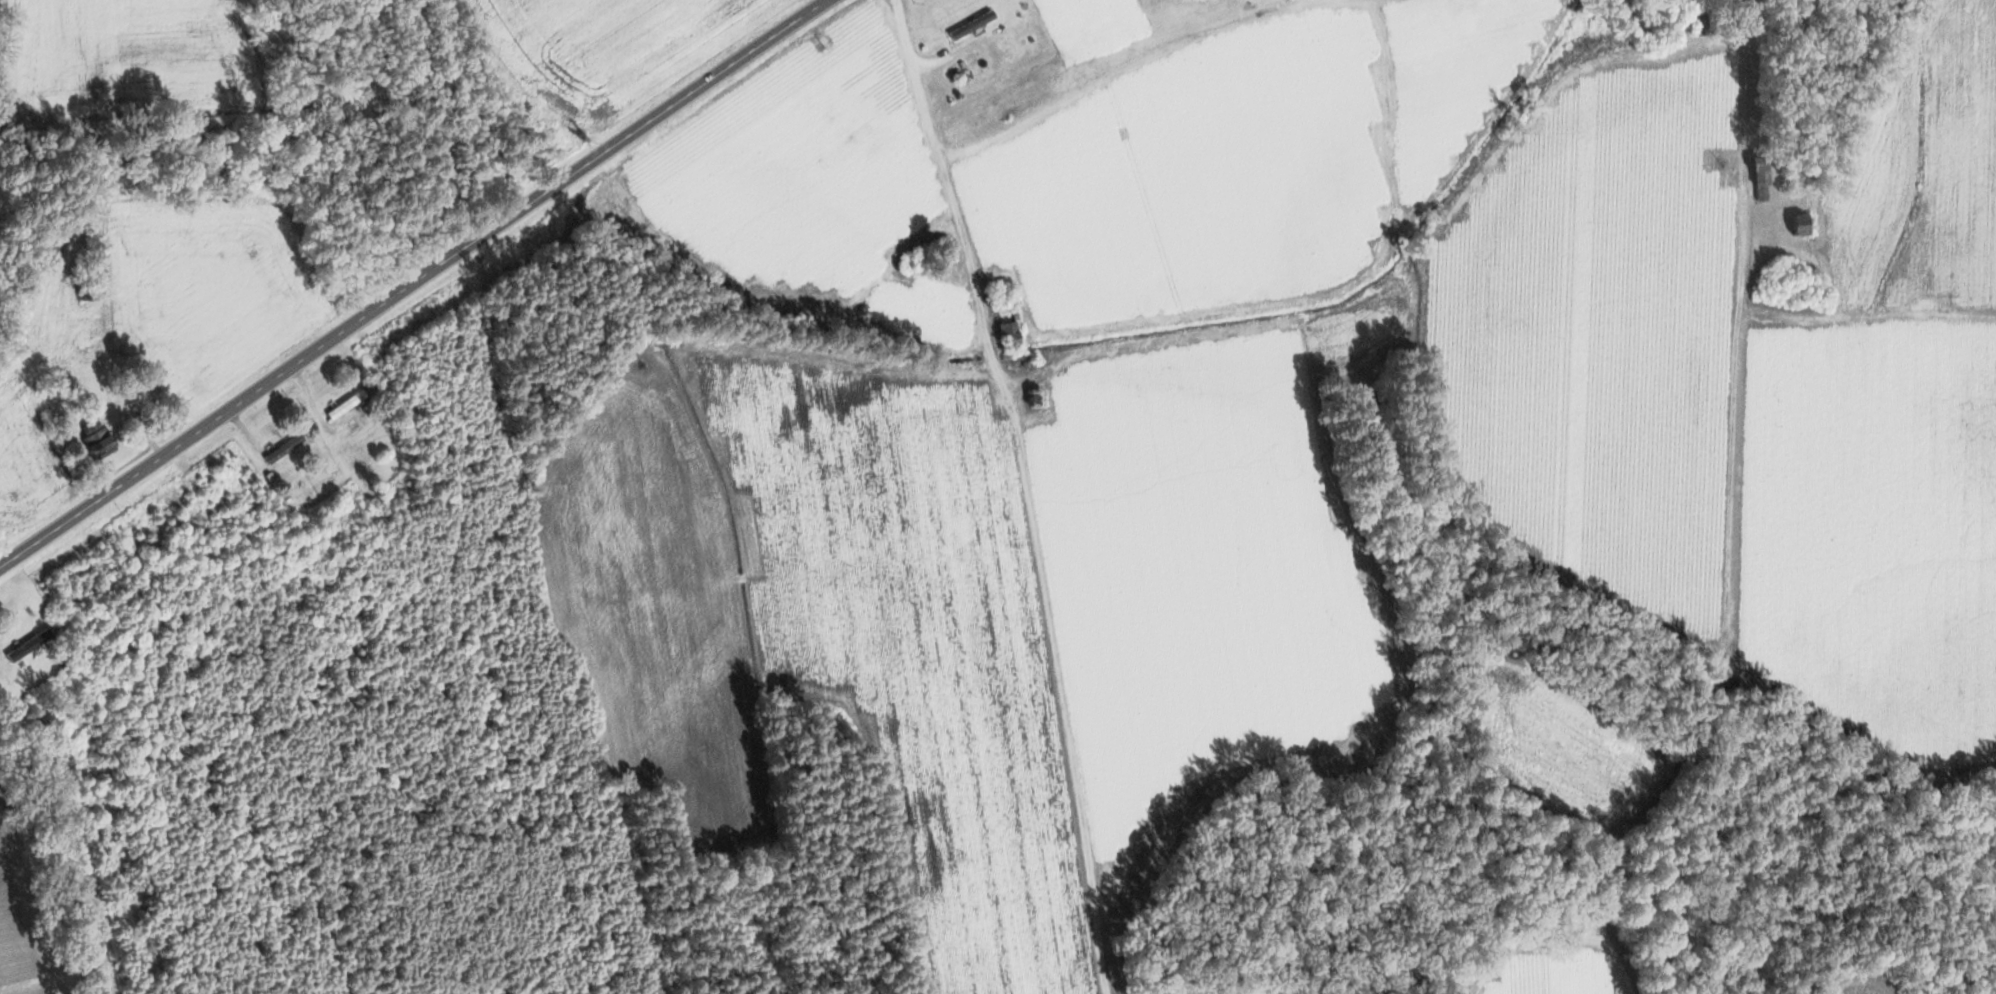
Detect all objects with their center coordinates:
building: (970, 26)
building: (1758, 184)
building: (1795, 227)
road: (414, 284)
building: (355, 432)
building: (94, 440)
building: (281, 450)
building: (25, 647)
building: (42, 719)

